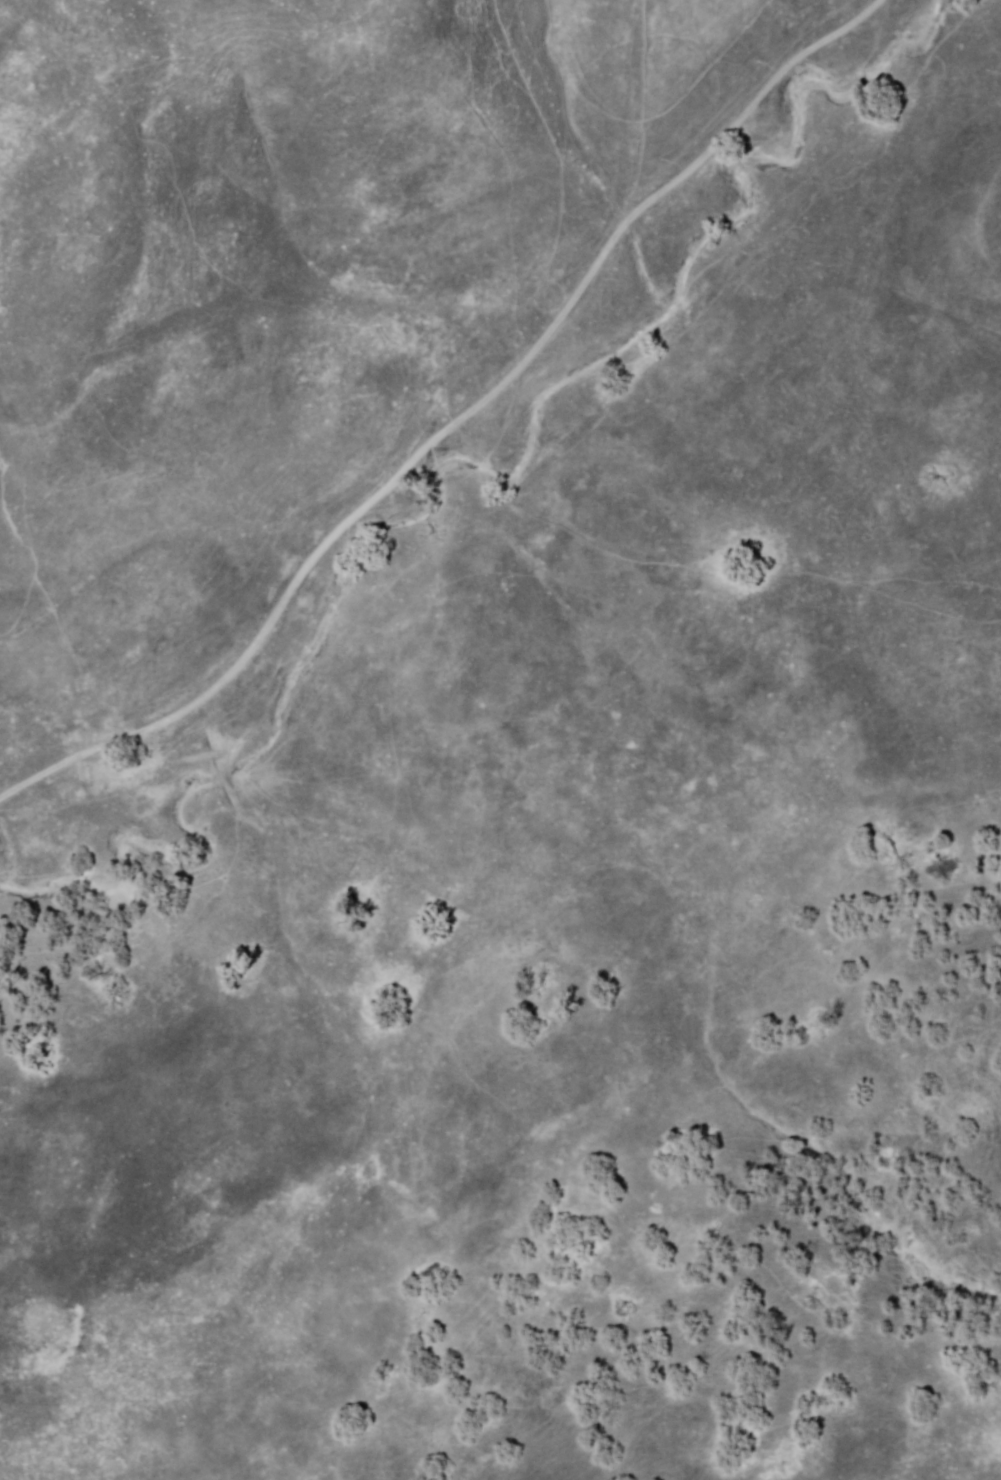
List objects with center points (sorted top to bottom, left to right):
road: (455, 422)

